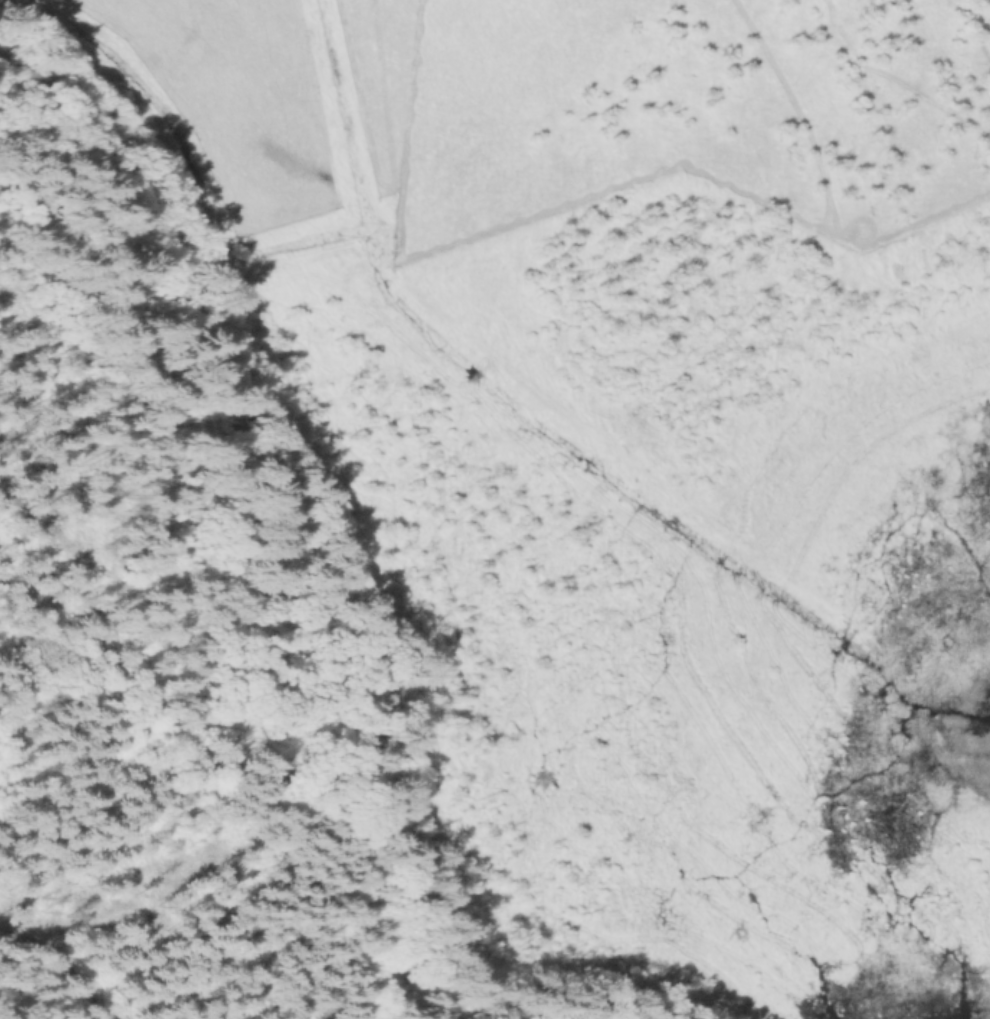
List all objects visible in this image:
road: (65, 955)

